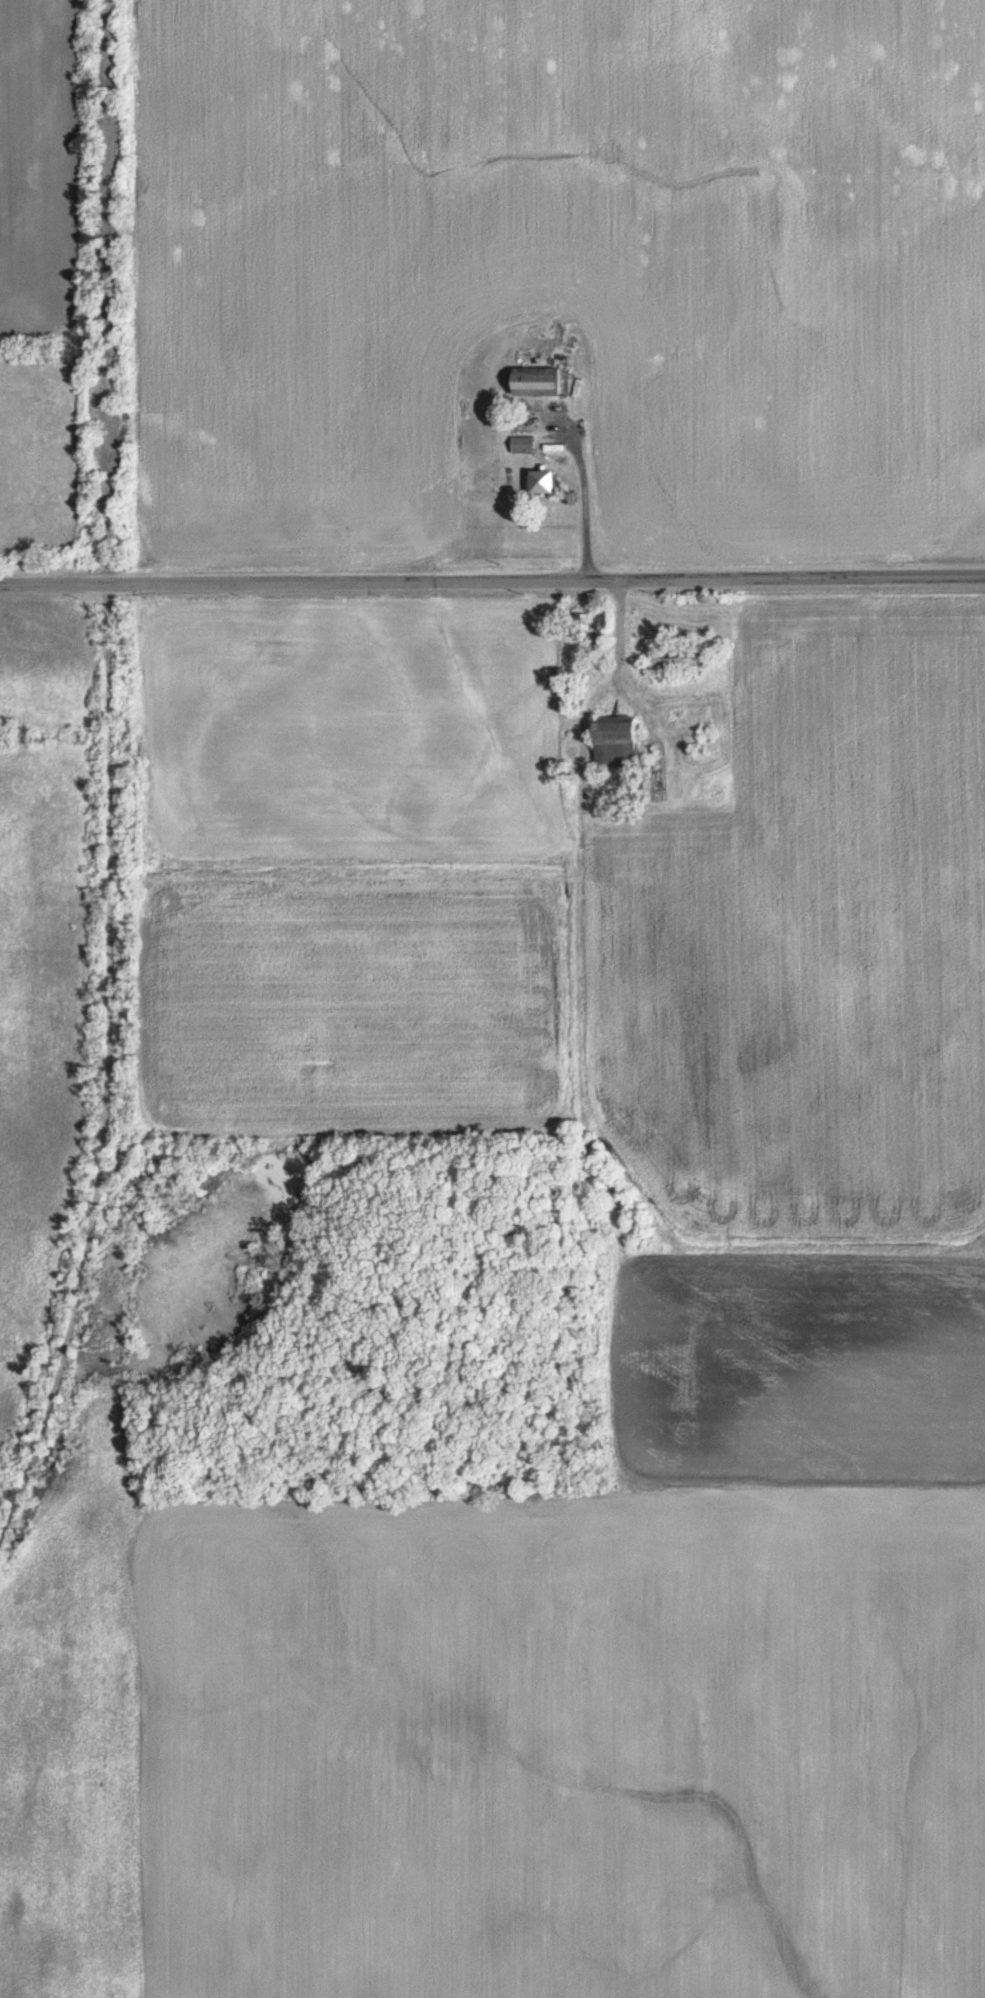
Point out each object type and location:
crop: (39, 162)
crop: (569, 265)
road: (492, 586)
crop: (42, 667)
crop: (345, 870)
crop: (807, 935)
crop: (610, 1672)
crop: (74, 1733)

